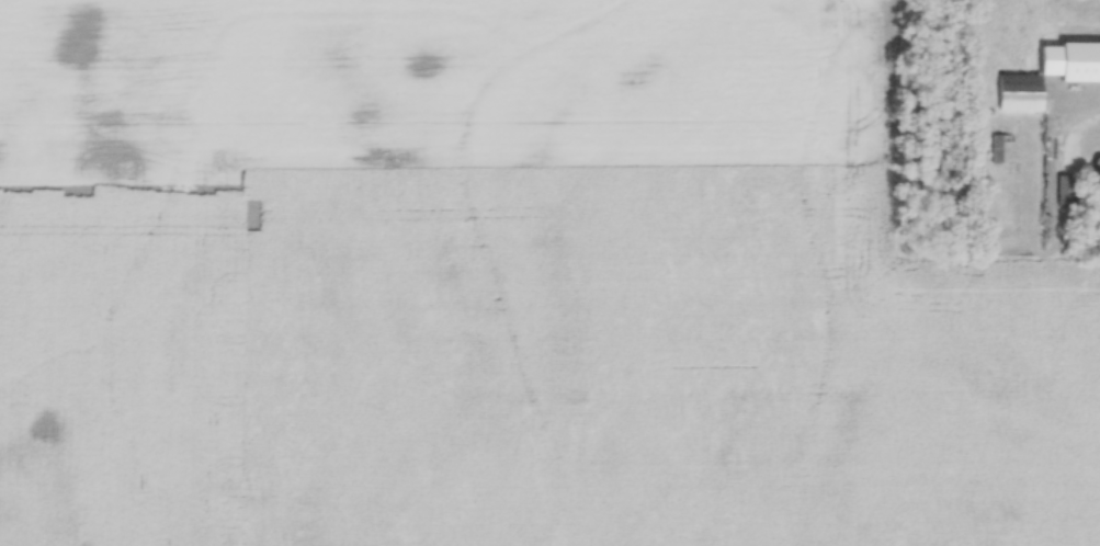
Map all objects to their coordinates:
building: (1030, 84)
building: (999, 147)
building: (1066, 190)

